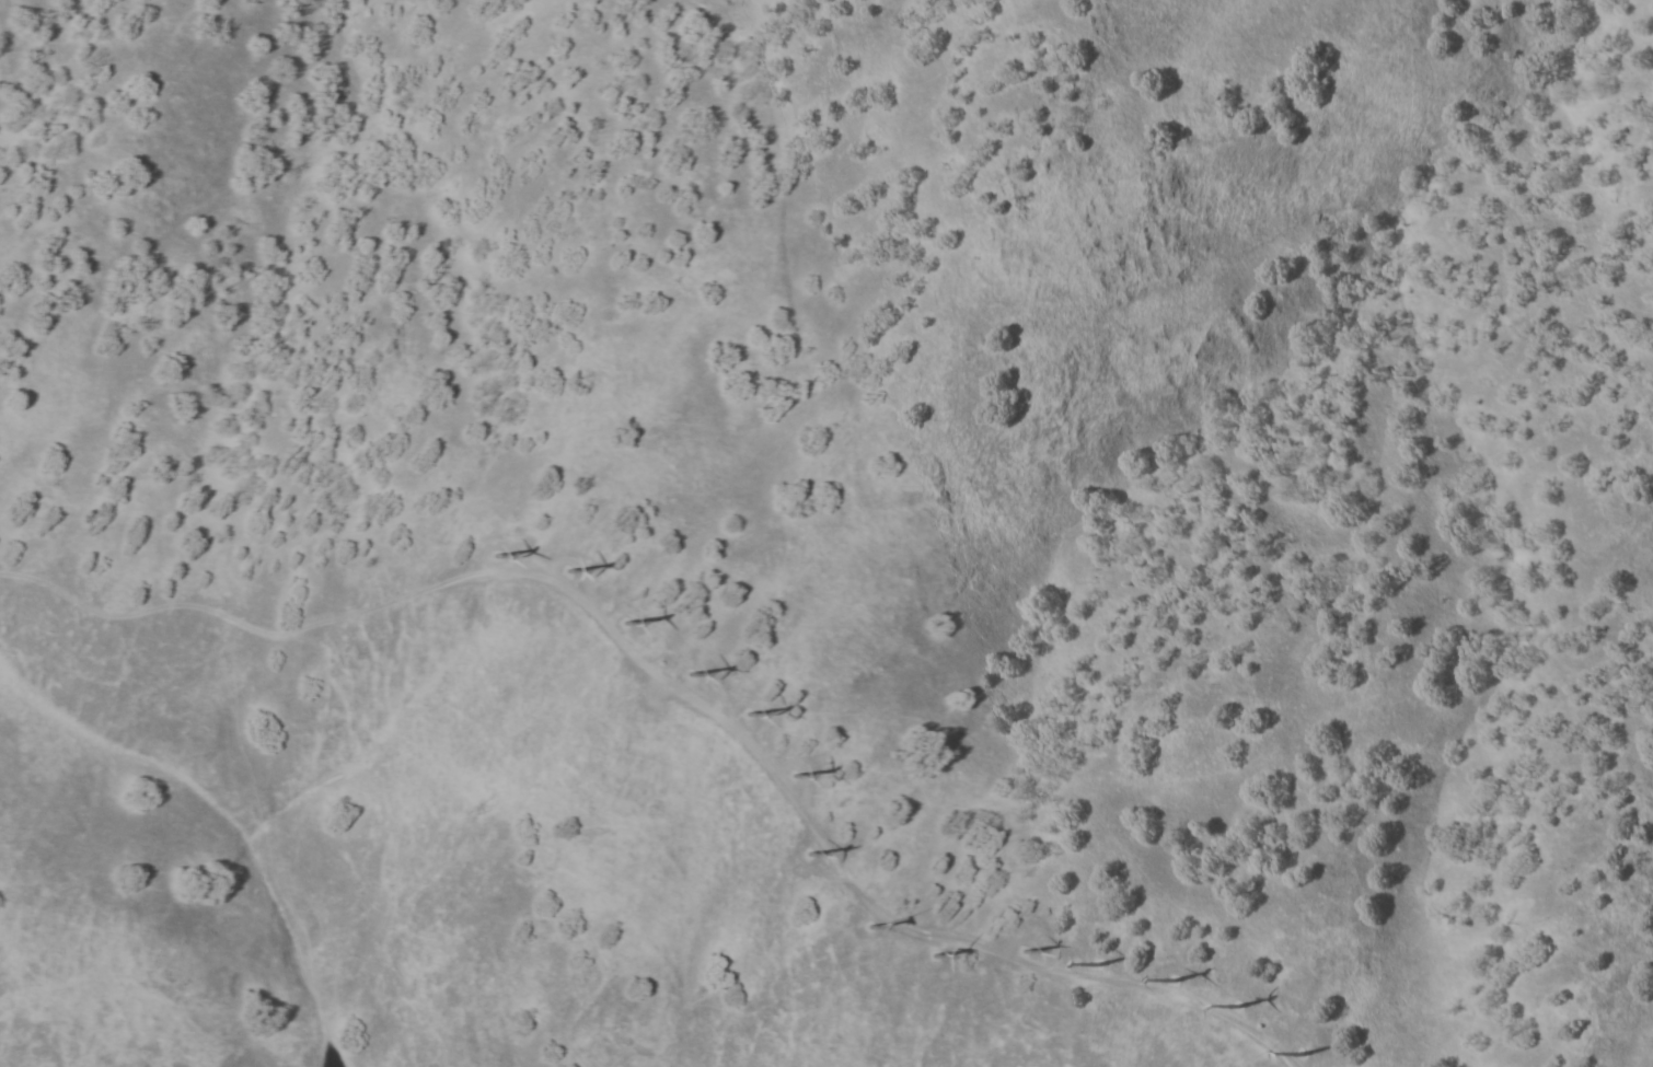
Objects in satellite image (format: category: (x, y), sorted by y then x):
road: (506, 543)
wind turbine: (494, 555)
road: (578, 565)
wind turbine: (566, 572)
road: (240, 622)
wind turbine: (626, 625)
wind turbine: (689, 672)
wind turbine: (745, 711)
road: (802, 773)
wind turbine: (791, 776)
wind turbine: (804, 853)
road: (847, 881)
wind turbine: (874, 928)
wind turbine: (1022, 948)
wind turbine: (937, 960)
wind turbine: (1096, 962)
wind turbine: (1169, 979)
wind turbine: (1238, 1002)
wind turbine: (1301, 1052)

